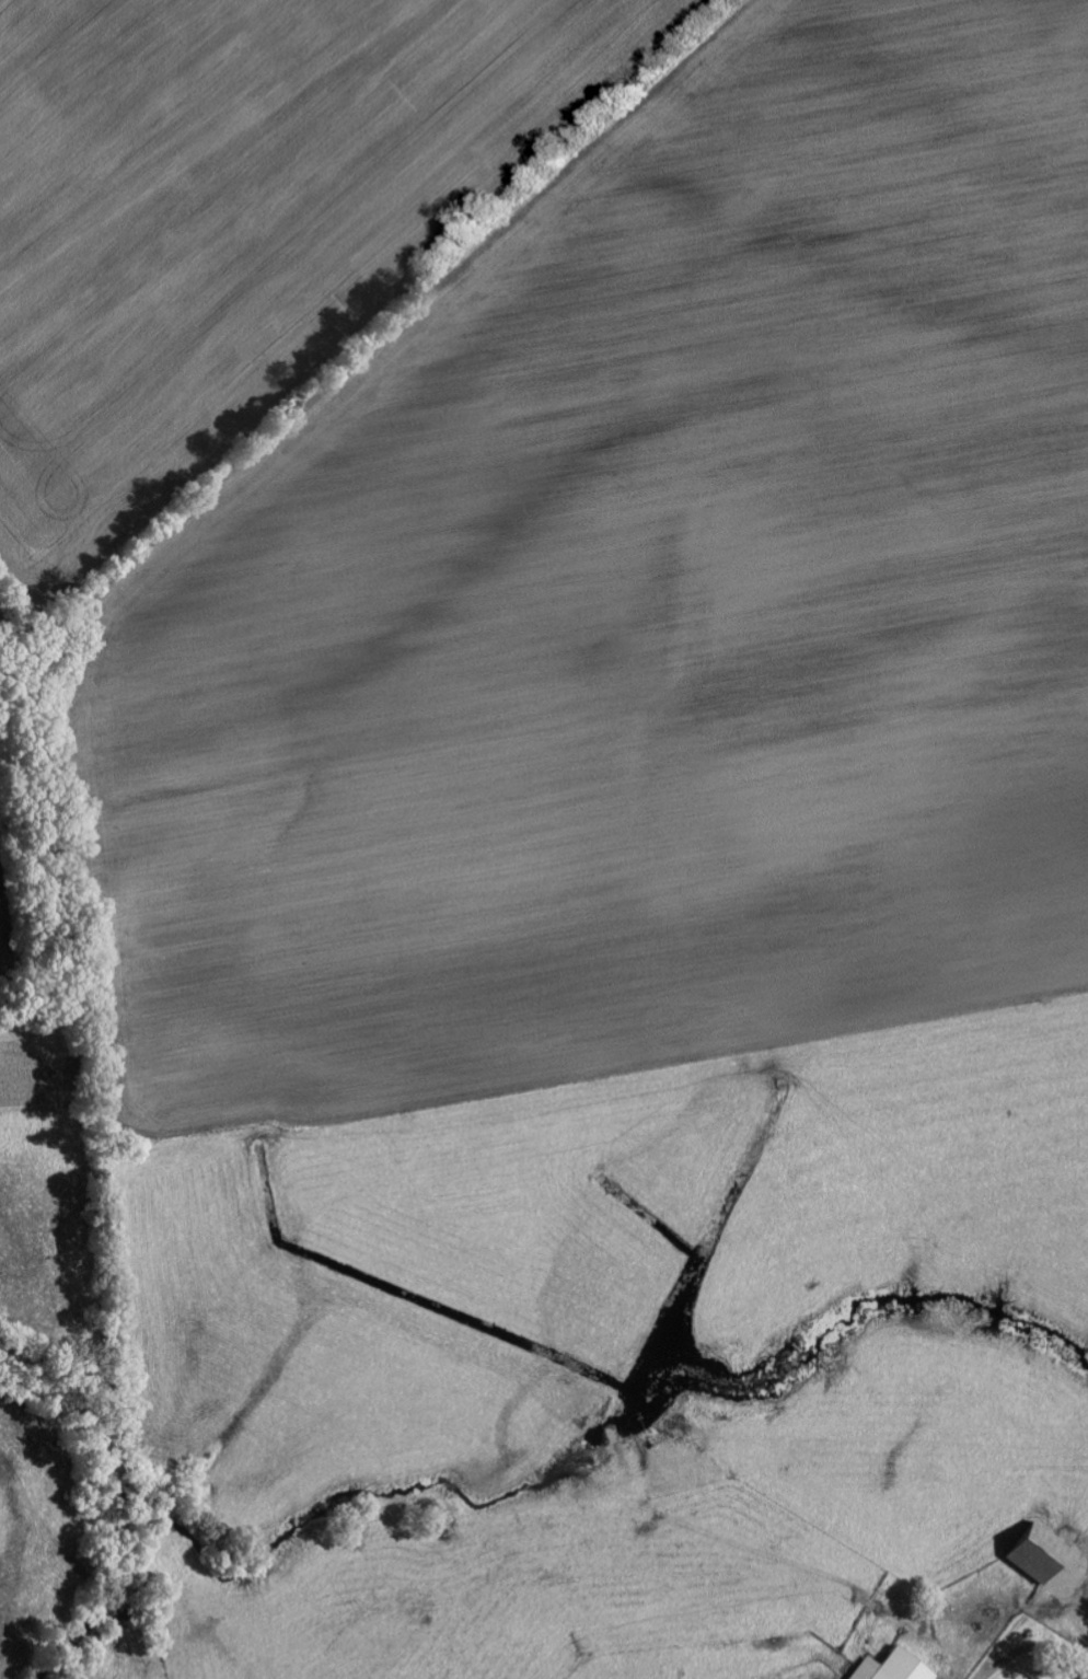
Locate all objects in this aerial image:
building: (1037, 1552)
road: (1030, 1646)
building: (890, 1667)

